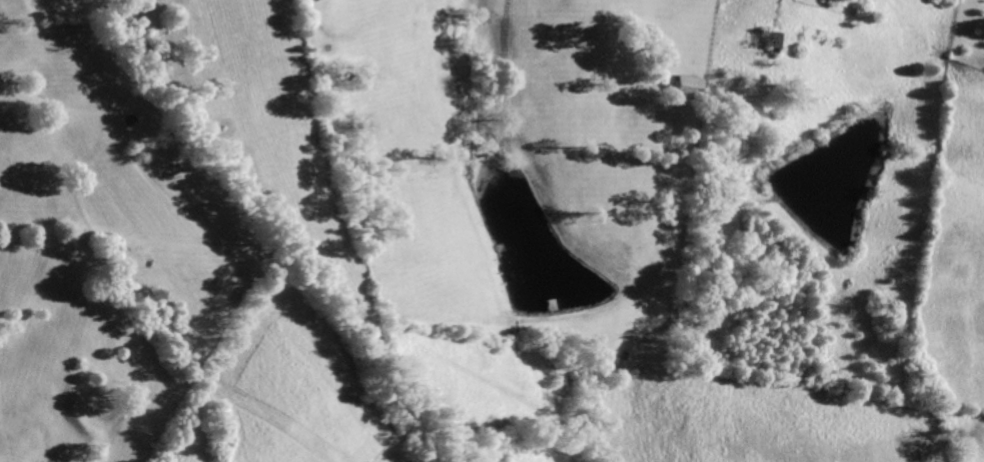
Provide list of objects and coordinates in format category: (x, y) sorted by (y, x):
building: (308, 1)
building: (770, 37)
building: (690, 86)
crop: (838, 234)

